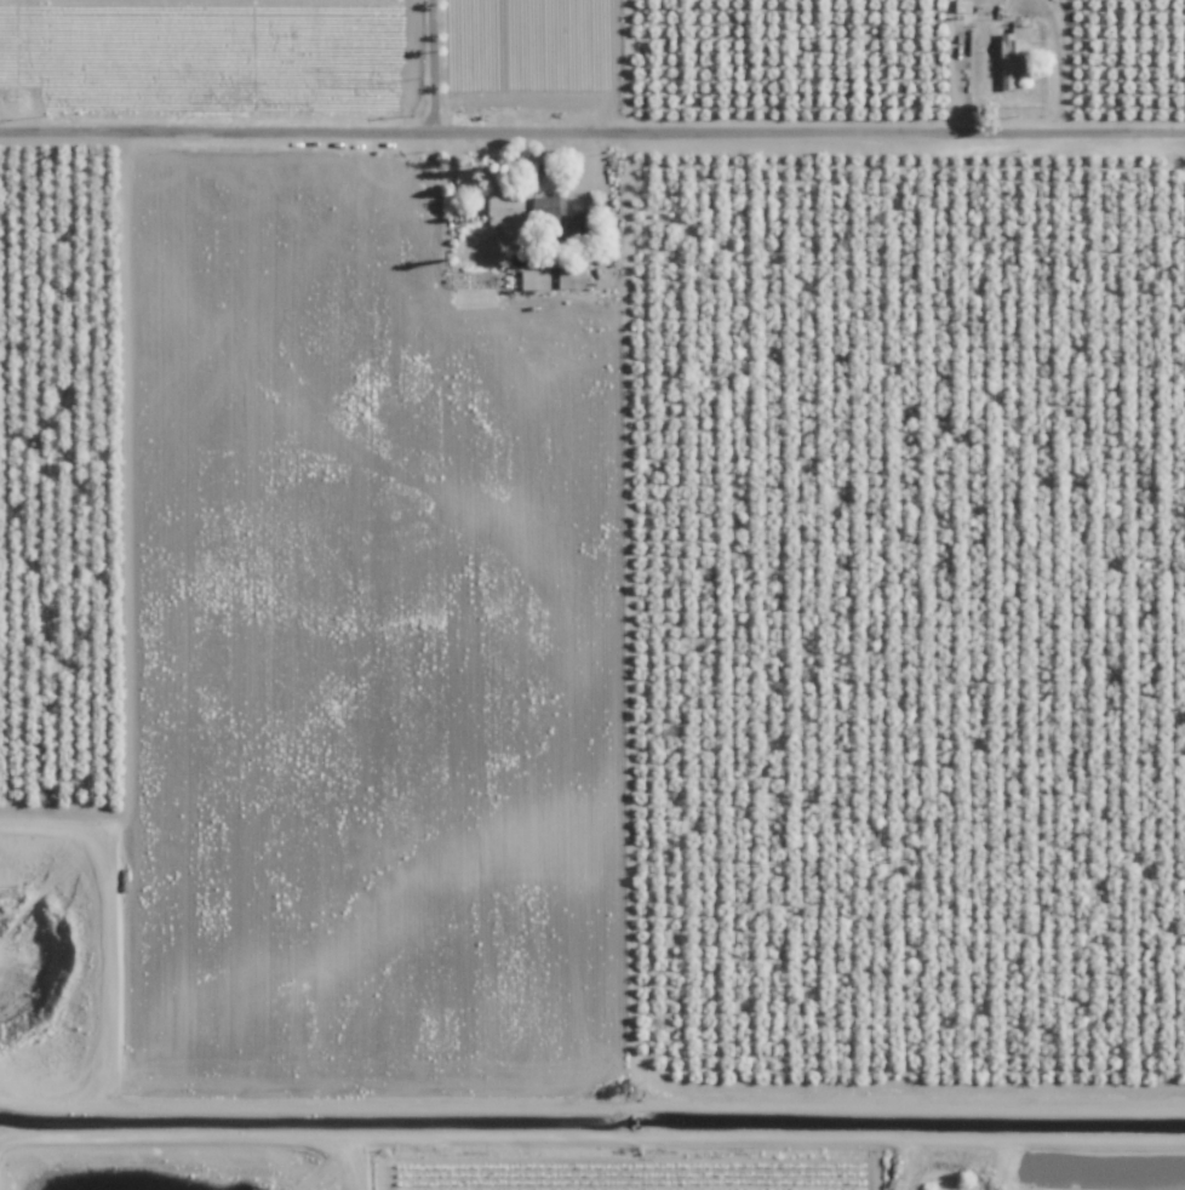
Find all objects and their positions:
road: (1058, 52)
crop: (314, 53)
crop: (903, 53)
building: (1013, 55)
road: (430, 61)
road: (591, 122)
road: (592, 195)
building: (506, 206)
building: (549, 207)
building: (537, 278)
building: (571, 278)
crop: (1155, 674)
crop: (365, 677)
crop: (874, 681)
crop: (1029, 1175)

